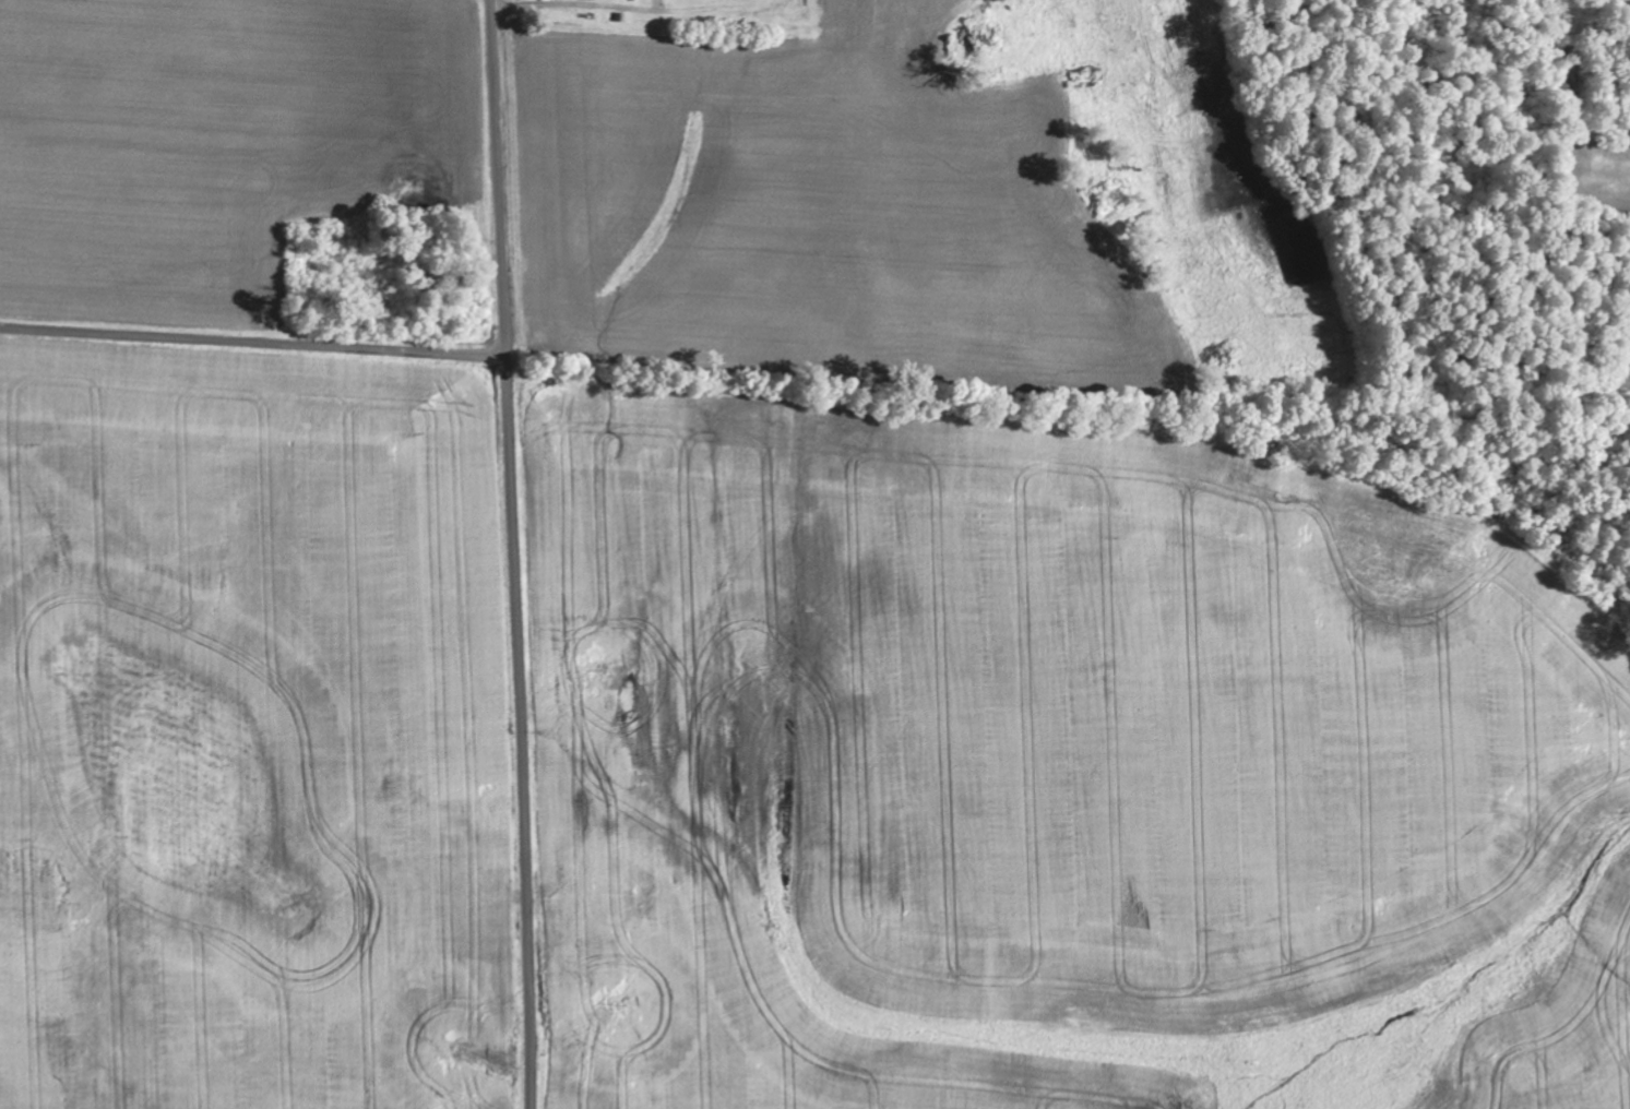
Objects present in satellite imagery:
road: (253, 344)
road: (516, 553)

